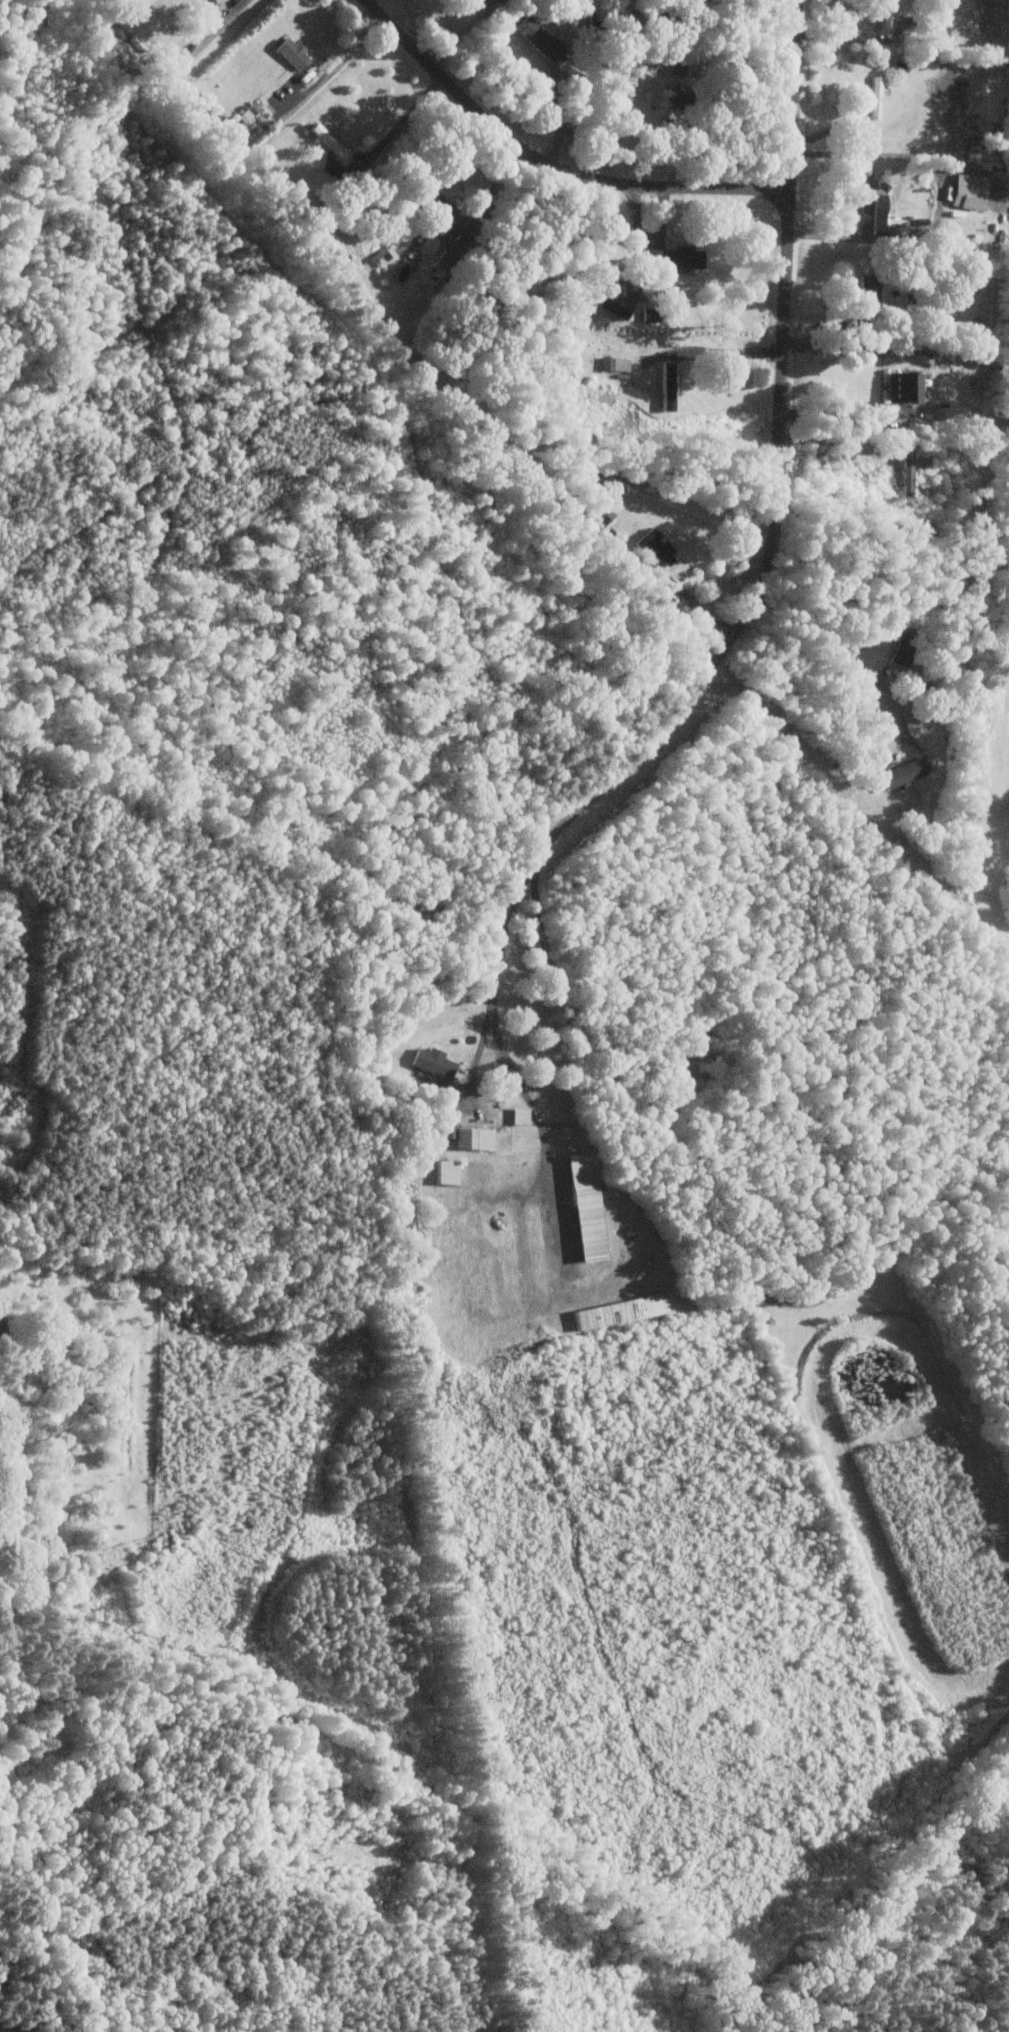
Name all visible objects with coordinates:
building: (484, 2)
road: (748, 31)
building: (537, 38)
road: (200, 39)
road: (853, 39)
building: (292, 53)
road: (336, 63)
building: (675, 96)
building: (877, 96)
building: (247, 113)
road: (398, 125)
road: (547, 163)
building: (969, 191)
road: (490, 194)
road: (941, 202)
building: (869, 213)
building: (677, 258)
building: (870, 290)
building: (615, 306)
road: (837, 348)
building: (668, 386)
building: (904, 388)
road: (837, 418)
road: (777, 483)
building: (654, 548)
building: (902, 650)
road: (832, 655)
building: (903, 773)
road: (493, 994)
building: (430, 1062)
road: (469, 1076)
building: (517, 1115)
building: (473, 1138)
building: (445, 1171)
building: (584, 1207)
road: (709, 1207)
road: (564, 1289)
building: (621, 1311)

